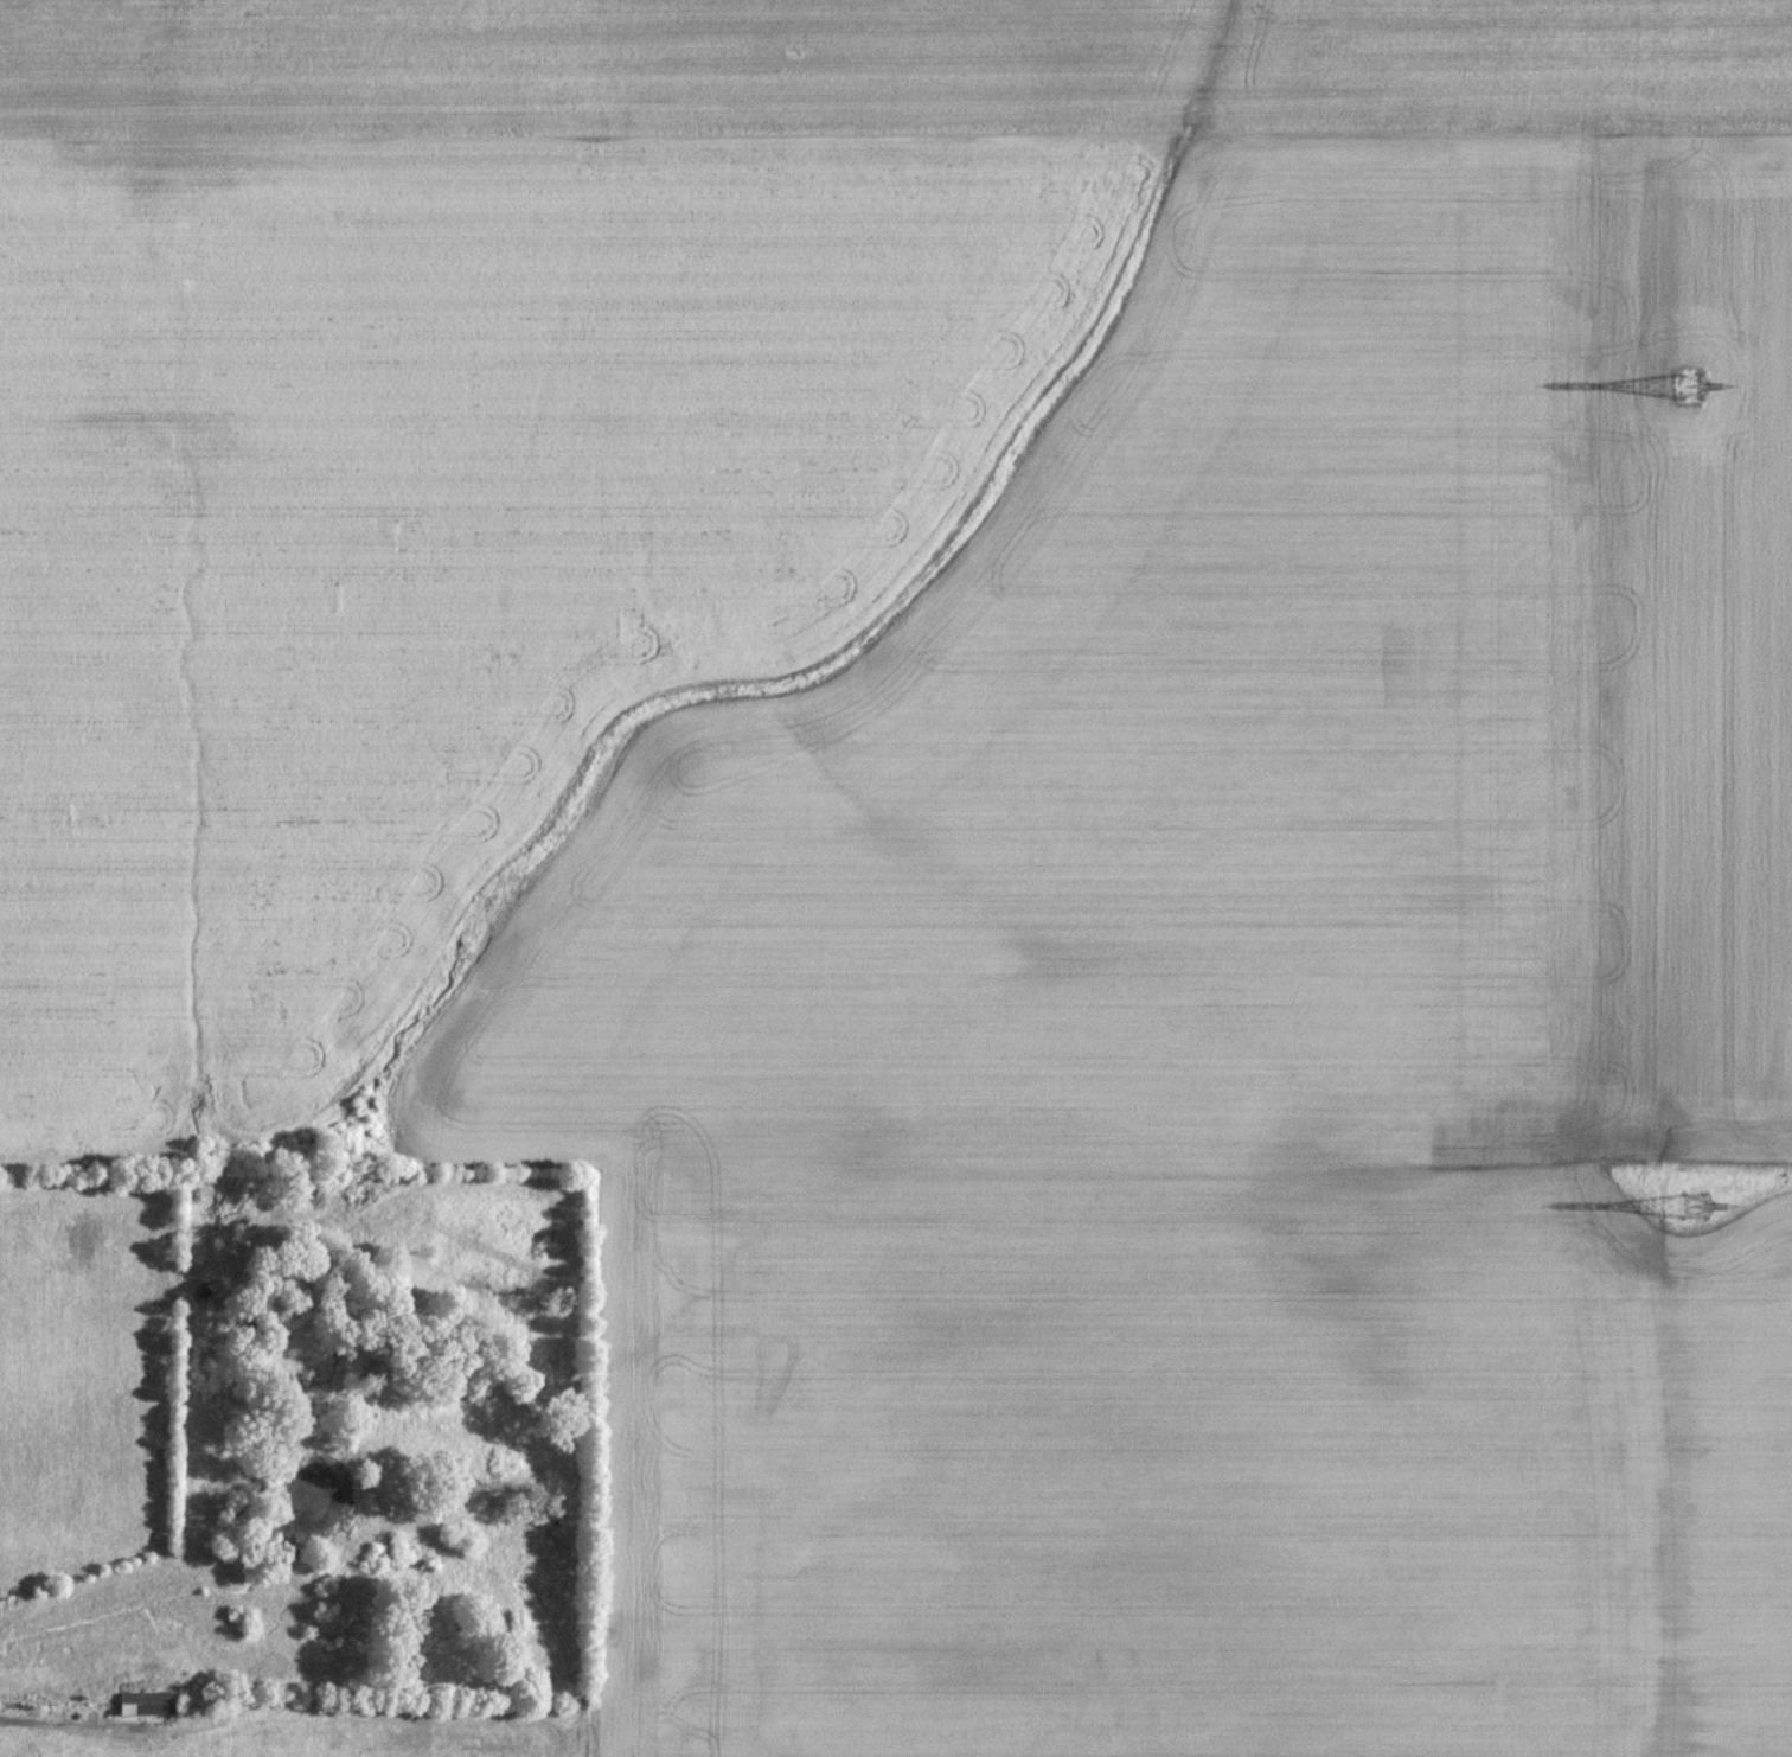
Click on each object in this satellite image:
power tower: (1690, 390)
power tower: (1698, 1207)
building: (145, 1701)
road: (66, 1726)

